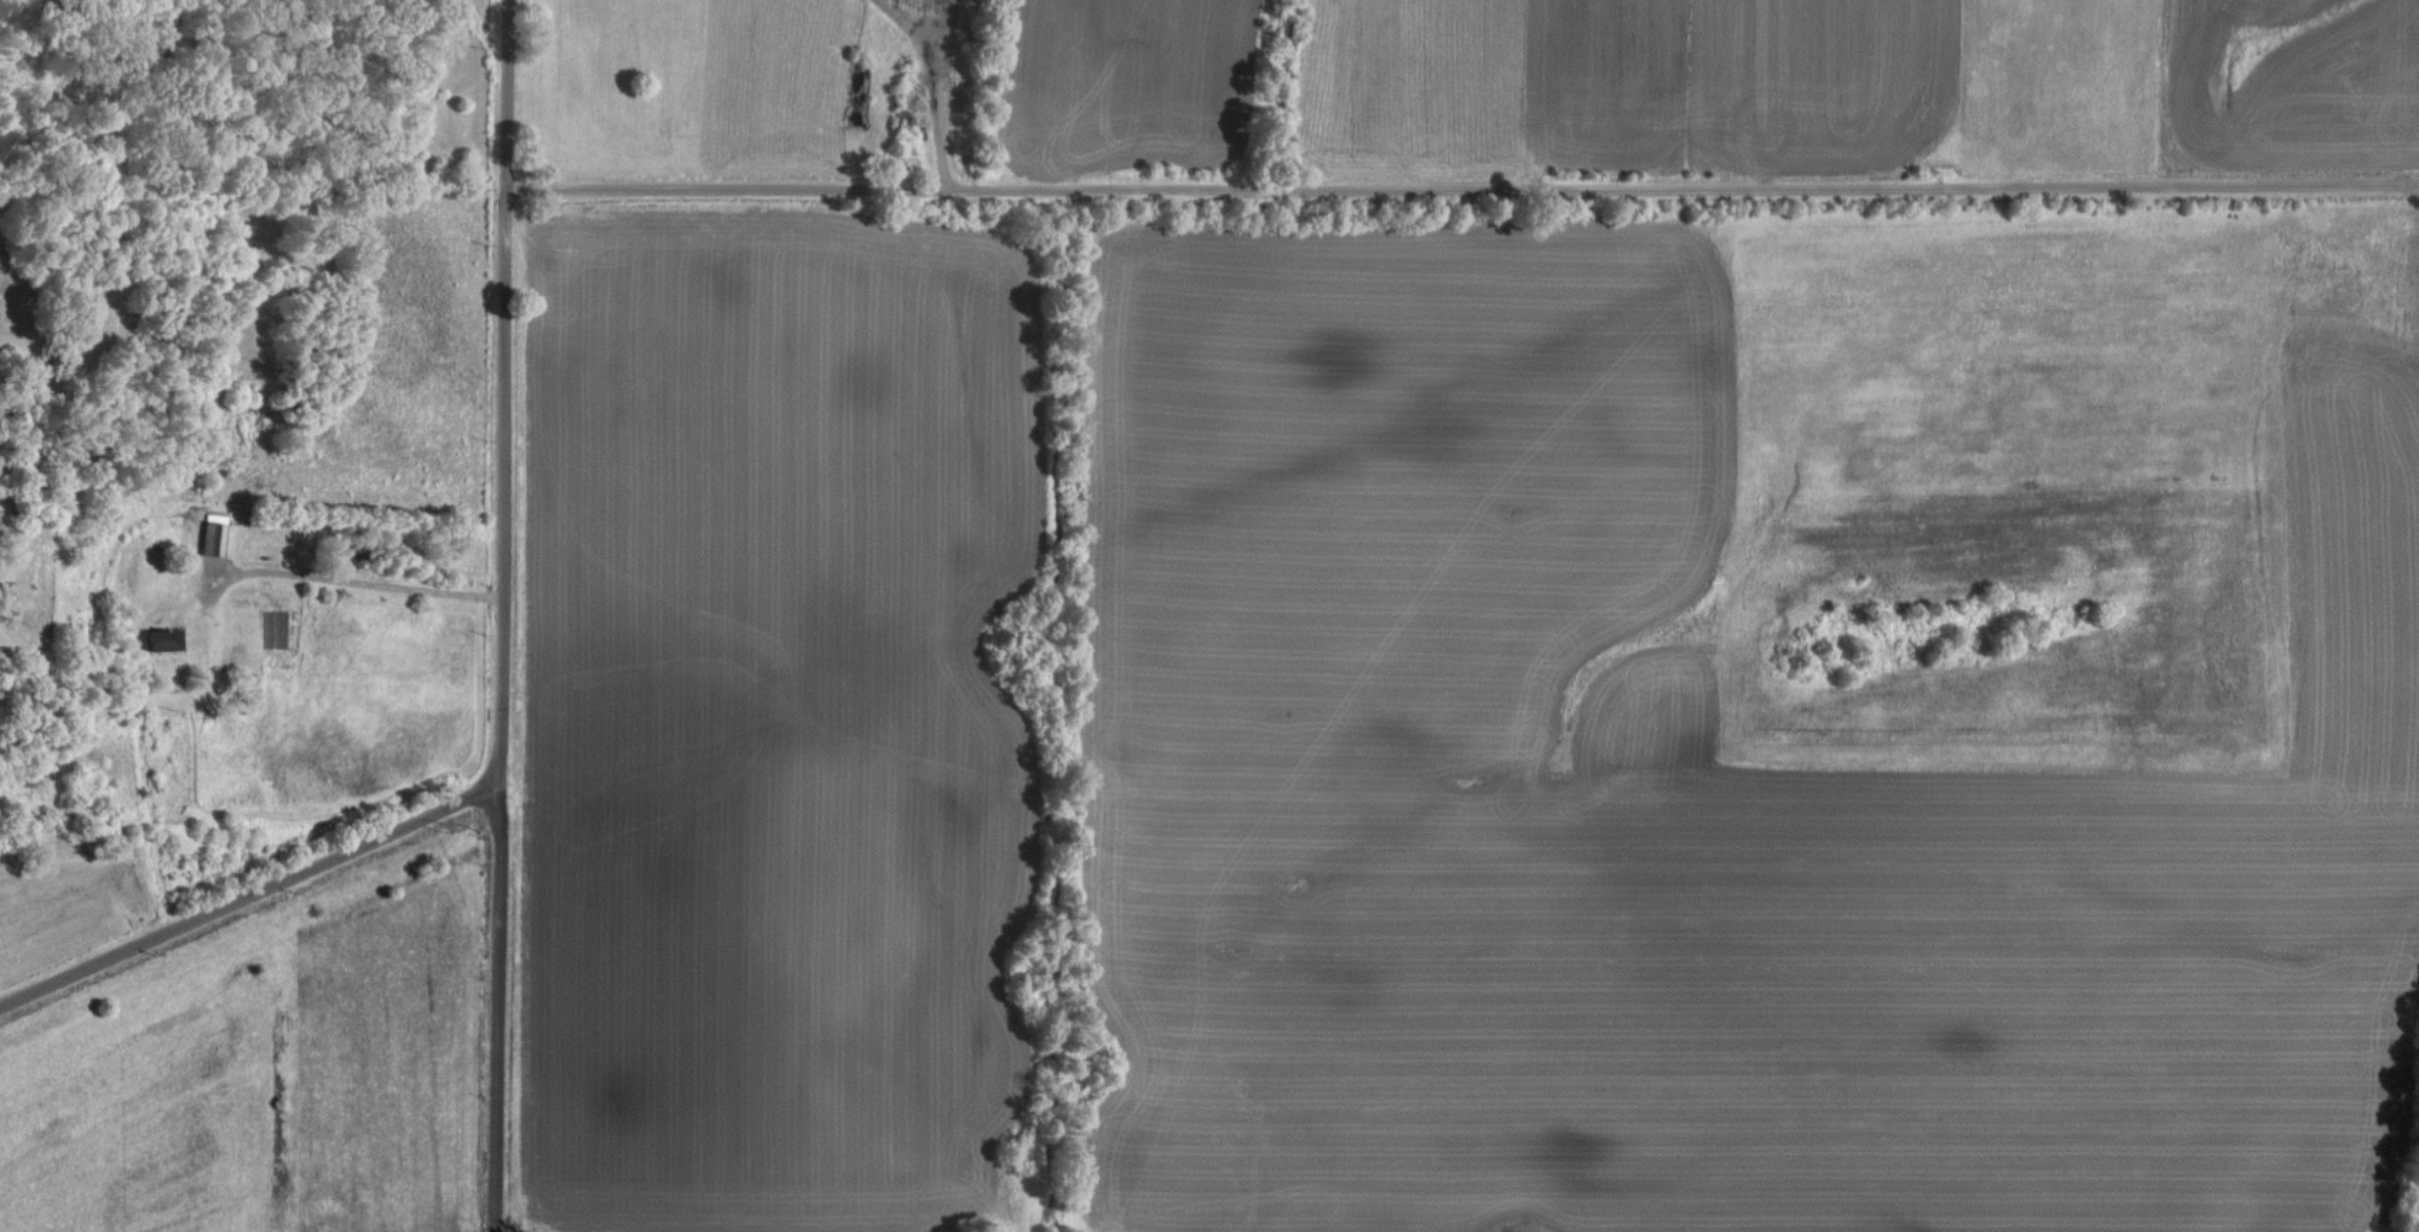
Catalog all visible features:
road: (1462, 189)
building: (218, 538)
road: (356, 582)
road: (497, 615)
building: (162, 638)
road: (244, 883)

